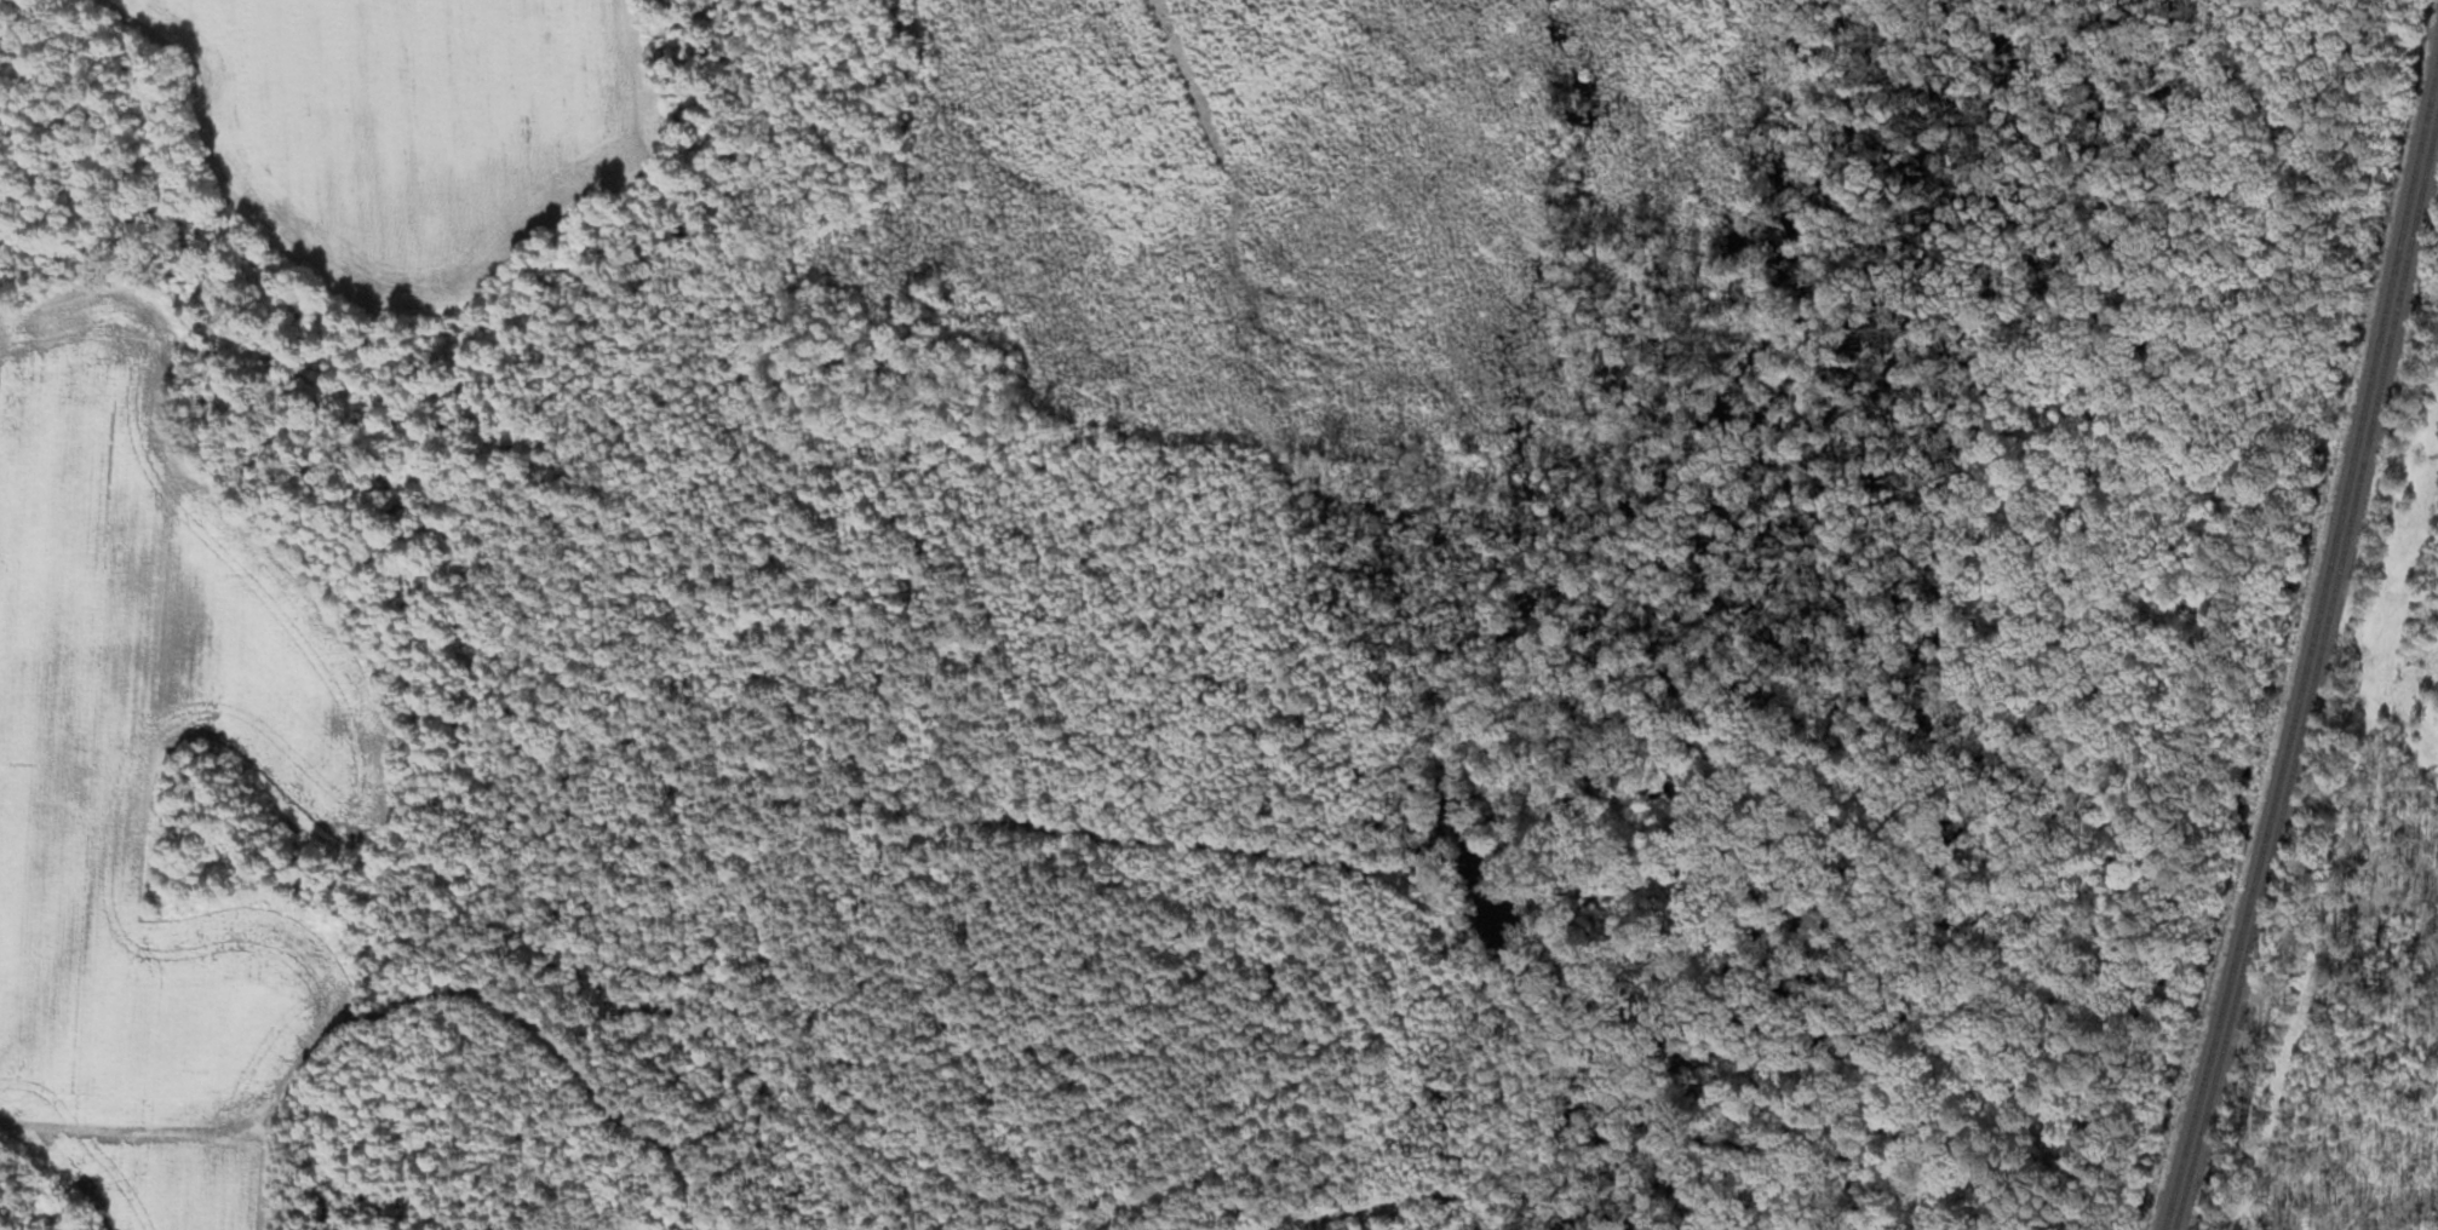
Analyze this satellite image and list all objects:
railway: (2311, 653)
railway: (2316, 679)

